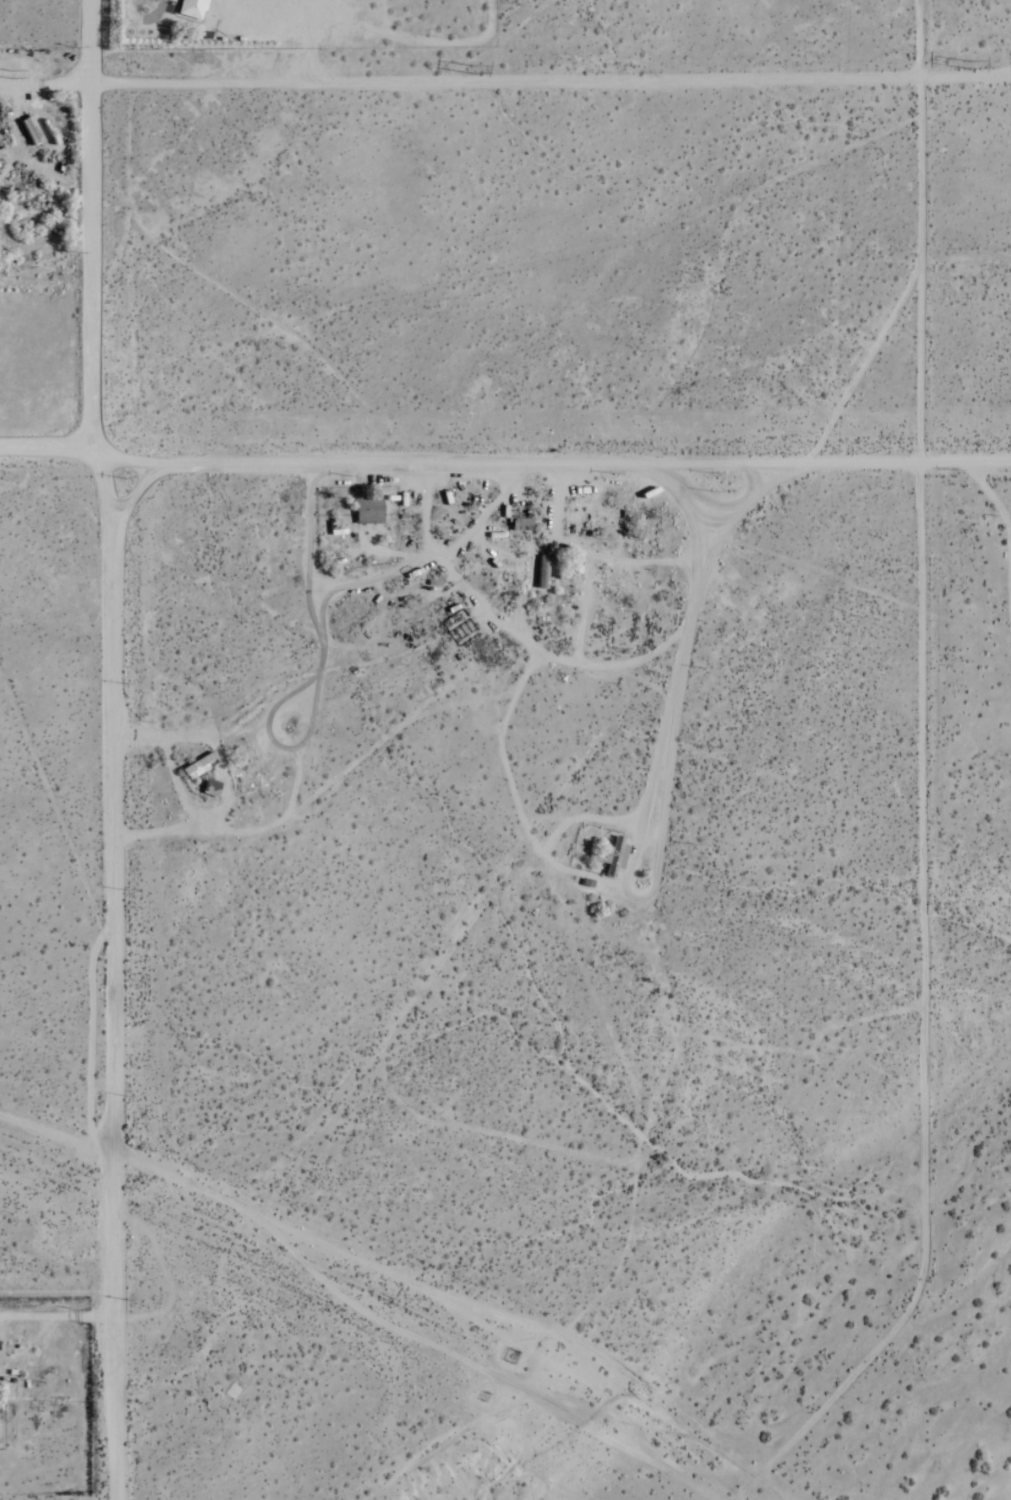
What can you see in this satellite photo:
building: (193, 9)
power tower: (972, 63)
power tower: (478, 71)
road: (1003, 73)
power tower: (19, 78)
road: (505, 83)
road: (920, 232)
road: (45, 444)
road: (558, 463)
building: (369, 512)
road: (681, 656)
road: (110, 746)
building: (199, 766)

